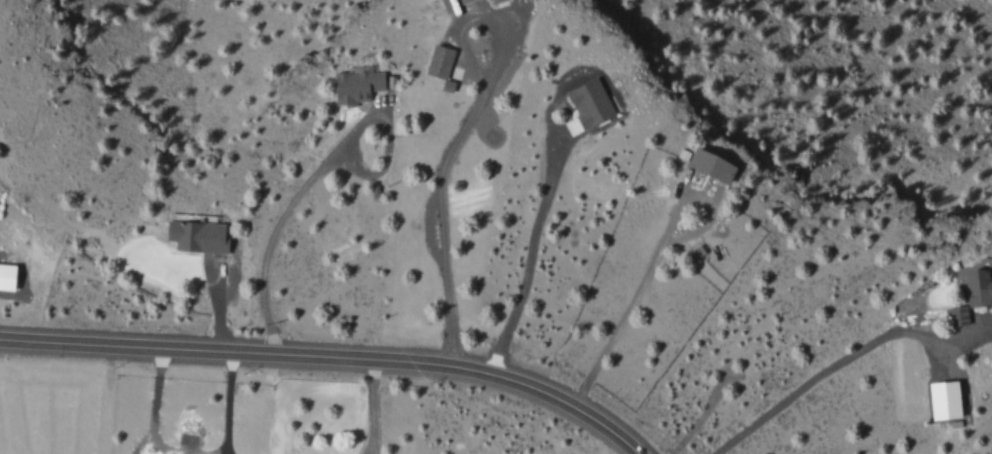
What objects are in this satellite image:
building: (462, 1)
building: (491, 1)
building: (437, 61)
building: (445, 85)
building: (353, 86)
building: (587, 102)
building: (707, 165)
building: (194, 236)
building: (6, 276)
building: (978, 282)
building: (956, 315)
road: (329, 354)
building: (941, 399)

